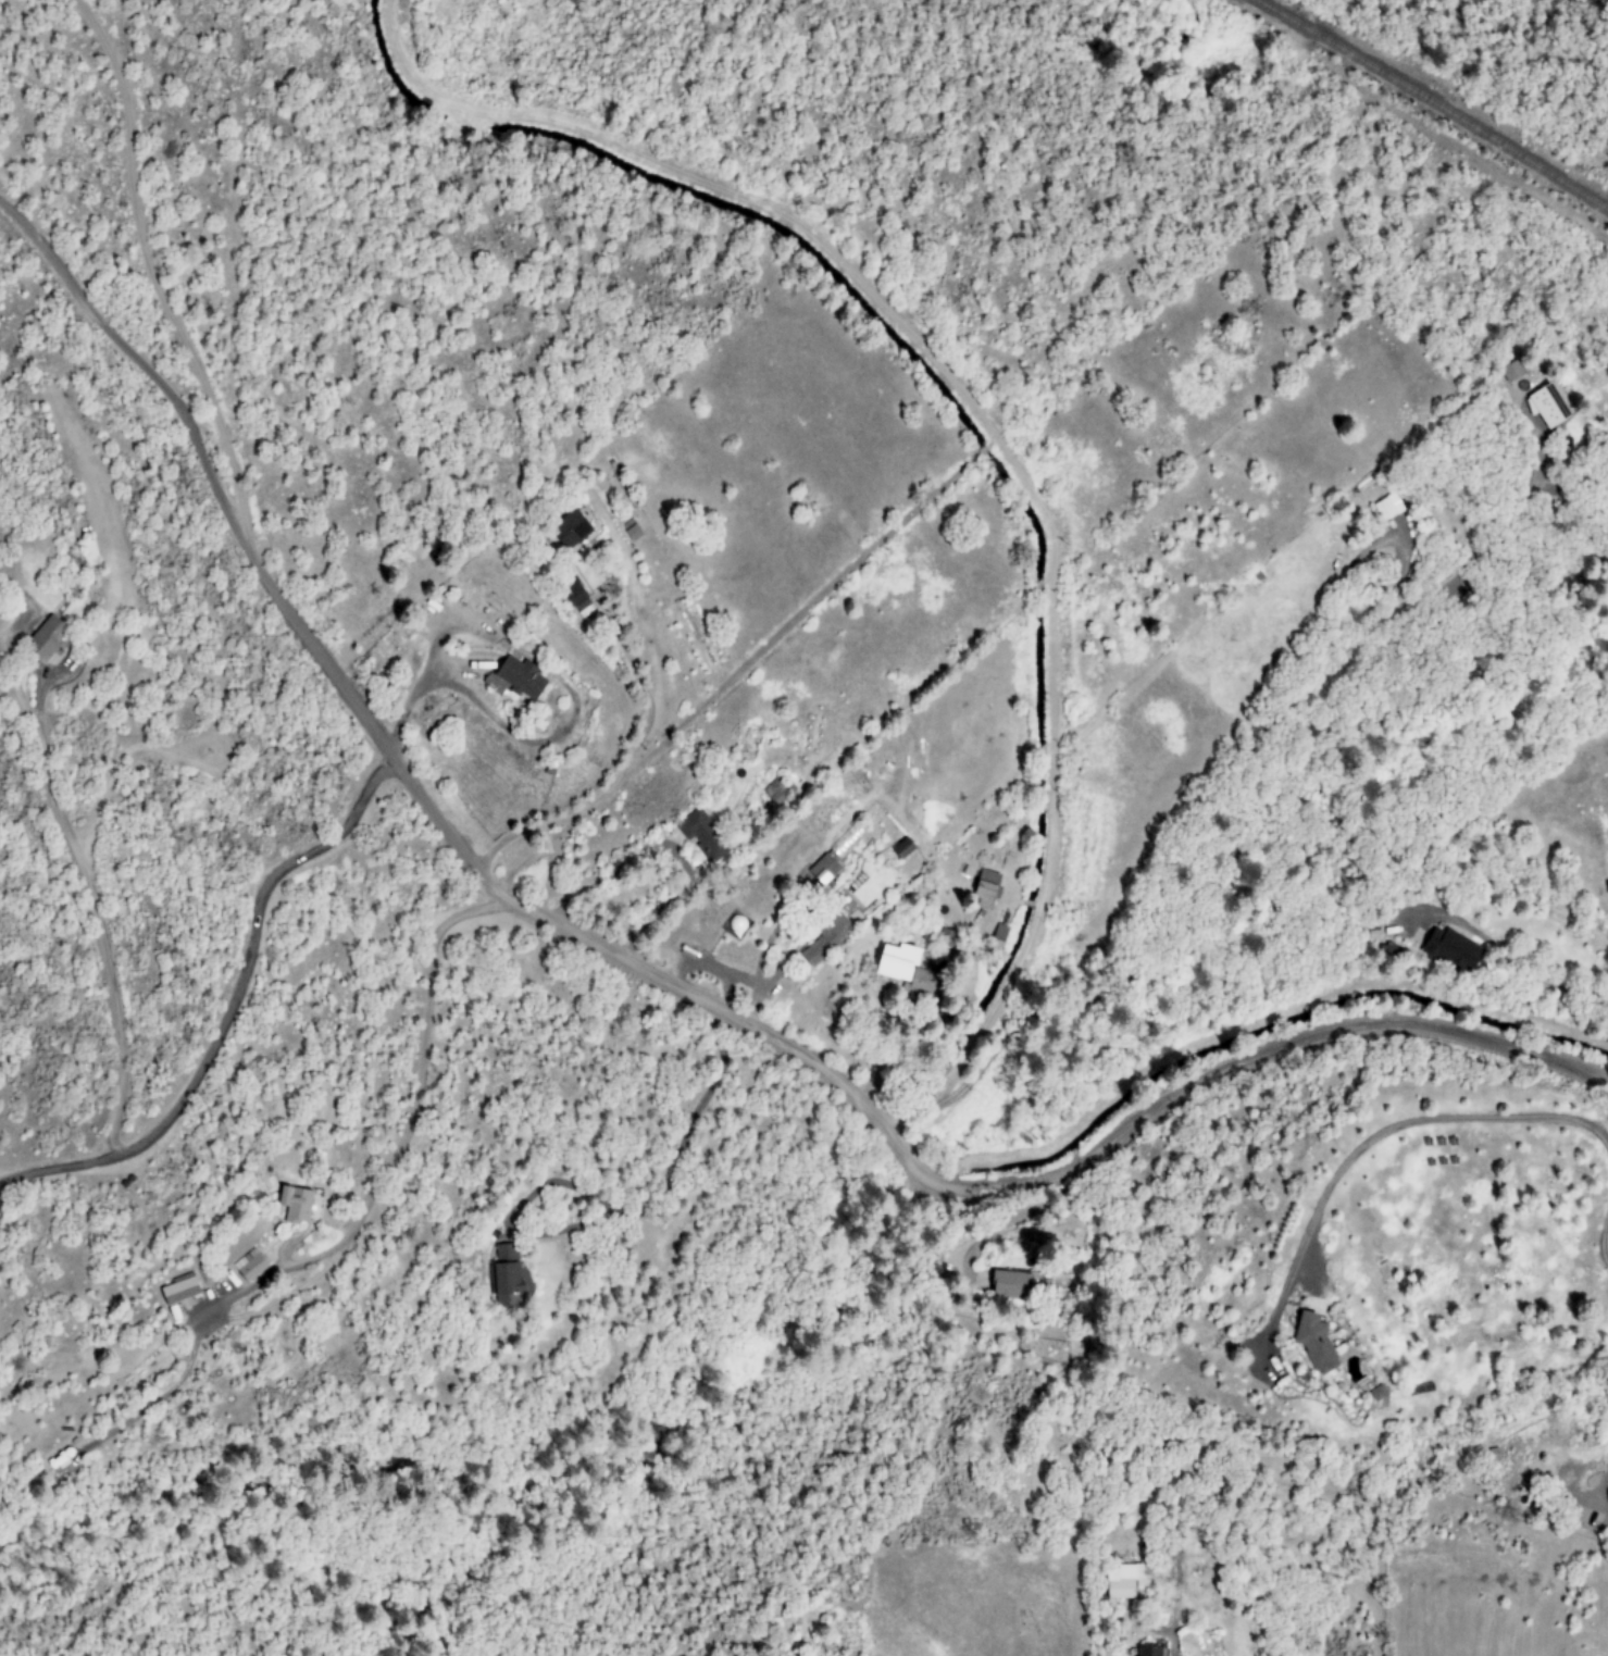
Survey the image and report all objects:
railway: (1431, 102)
road: (166, 277)
building: (1510, 371)
building: (1545, 406)
road: (985, 431)
building: (1386, 507)
building: (569, 530)
building: (630, 530)
building: (577, 600)
building: (48, 638)
building: (519, 677)
building: (776, 790)
building: (701, 835)
building: (846, 839)
building: (901, 848)
building: (822, 869)
building: (983, 888)
building: (997, 935)
building: (826, 937)
building: (1385, 950)
building: (1450, 950)
road: (1504, 968)
building: (905, 970)
road: (675, 983)
road: (225, 1003)
building: (295, 1204)
building: (249, 1265)
building: (506, 1274)
building: (1018, 1285)
building: (179, 1288)
building: (1312, 1340)
building: (1121, 1581)
building: (1146, 1651)

